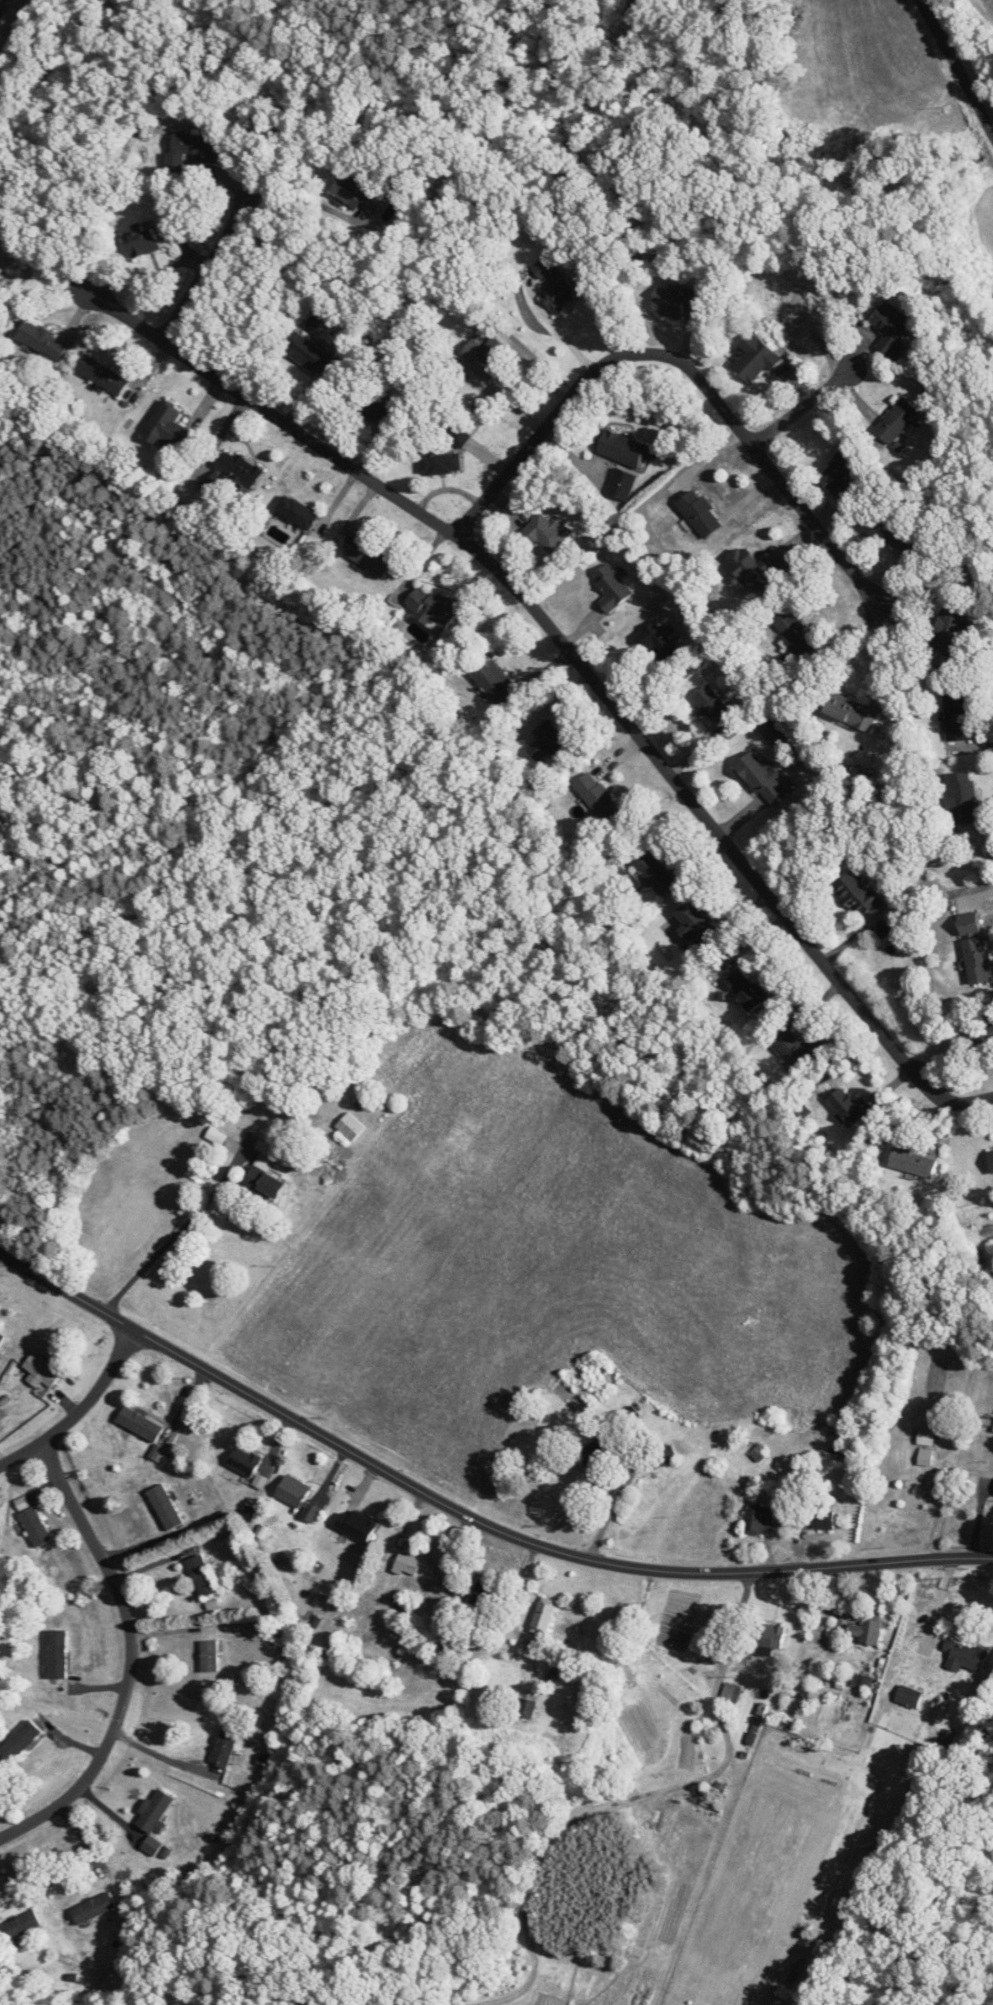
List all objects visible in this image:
road: (0, 1)
road: (957, 64)
building: (194, 147)
building: (355, 192)
building: (142, 240)
road: (216, 256)
building: (553, 284)
building: (680, 303)
building: (798, 305)
building: (890, 330)
building: (42, 340)
building: (310, 353)
building: (485, 354)
building: (755, 359)
road: (694, 373)
building: (102, 375)
road: (812, 396)
road: (504, 400)
building: (375, 408)
building: (896, 420)
building: (168, 428)
building: (460, 437)
building: (621, 448)
building: (439, 462)
building: (238, 469)
building: (839, 477)
building: (297, 511)
building: (699, 513)
building: (545, 531)
building: (903, 538)
building: (368, 556)
building: (752, 570)
building: (612, 587)
building: (432, 608)
building: (948, 631)
building: (795, 632)
building: (662, 646)
road: (570, 648)
building: (495, 683)
building: (716, 709)
building: (850, 713)
building: (956, 716)
building: (549, 741)
building: (761, 778)
building: (598, 797)
building: (962, 798)
building: (652, 869)
building: (857, 895)
building: (695, 922)
building: (977, 961)
building: (746, 989)
building: (499, 1020)
building: (983, 1034)
building: (800, 1049)
building: (850, 1106)
building: (350, 1127)
building: (991, 1160)
building: (913, 1162)
building: (264, 1178)
road: (176, 1233)
building: (1, 1338)
building: (40, 1371)
road: (80, 1409)
building: (139, 1423)
building: (596, 1451)
building: (847, 1453)
building: (668, 1455)
building: (925, 1456)
building: (244, 1461)
building: (259, 1481)
building: (918, 1487)
building: (297, 1497)
building: (165, 1506)
road: (614, 1506)
road: (467, 1511)
building: (821, 1519)
building: (759, 1520)
building: (35, 1525)
building: (357, 1525)
building: (407, 1563)
building: (201, 1575)
building: (482, 1595)
building: (543, 1616)
building: (867, 1630)
building: (771, 1636)
building: (57, 1654)
building: (209, 1655)
road: (130, 1656)
building: (964, 1656)
building: (728, 1691)
building: (908, 1696)
building: (526, 1708)
building: (19, 1741)
building: (224, 1745)
road: (160, 1753)
road: (633, 1798)
building: (155, 1810)
building: (160, 1849)
building: (93, 1908)
building: (22, 1925)

